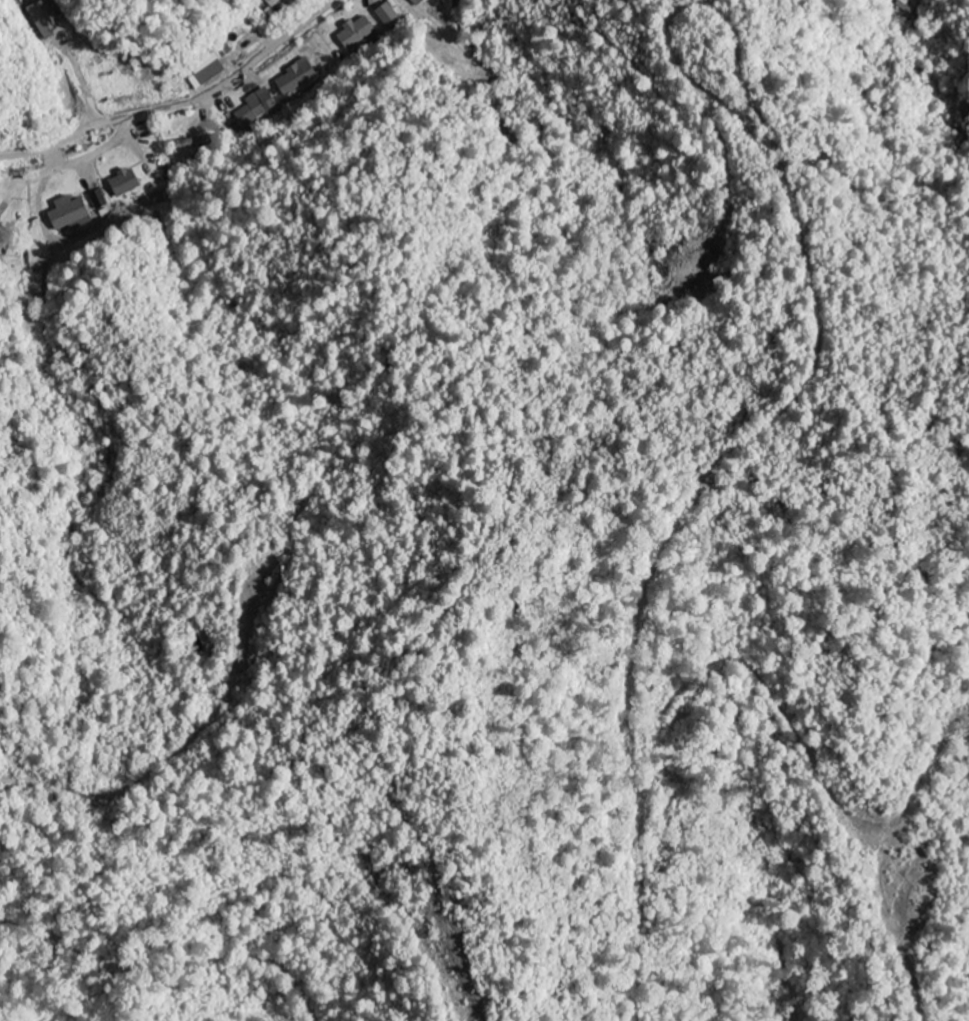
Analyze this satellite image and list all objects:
building: (419, 2)
building: (389, 16)
building: (47, 21)
building: (357, 33)
building: (298, 78)
road: (181, 105)
building: (257, 107)
building: (127, 184)
building: (100, 201)
building: (72, 213)

